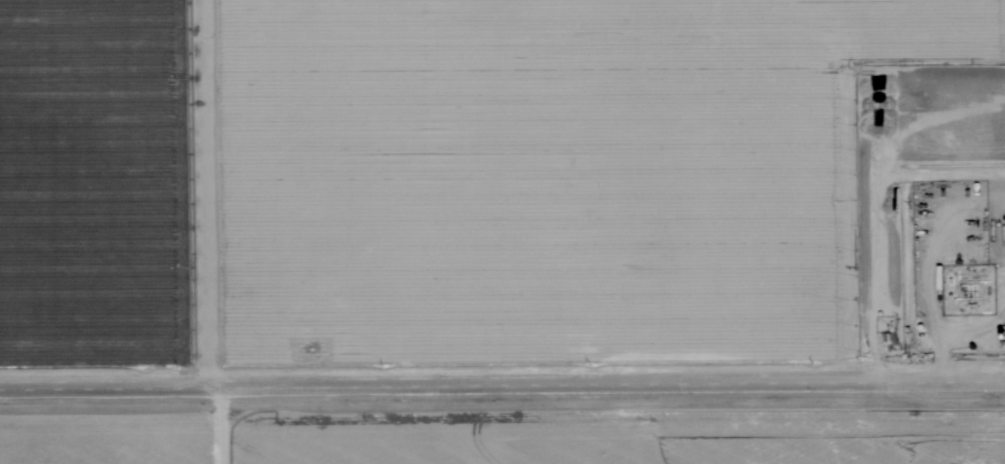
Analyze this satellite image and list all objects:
crop: (453, 232)
road: (502, 387)
road: (216, 427)

